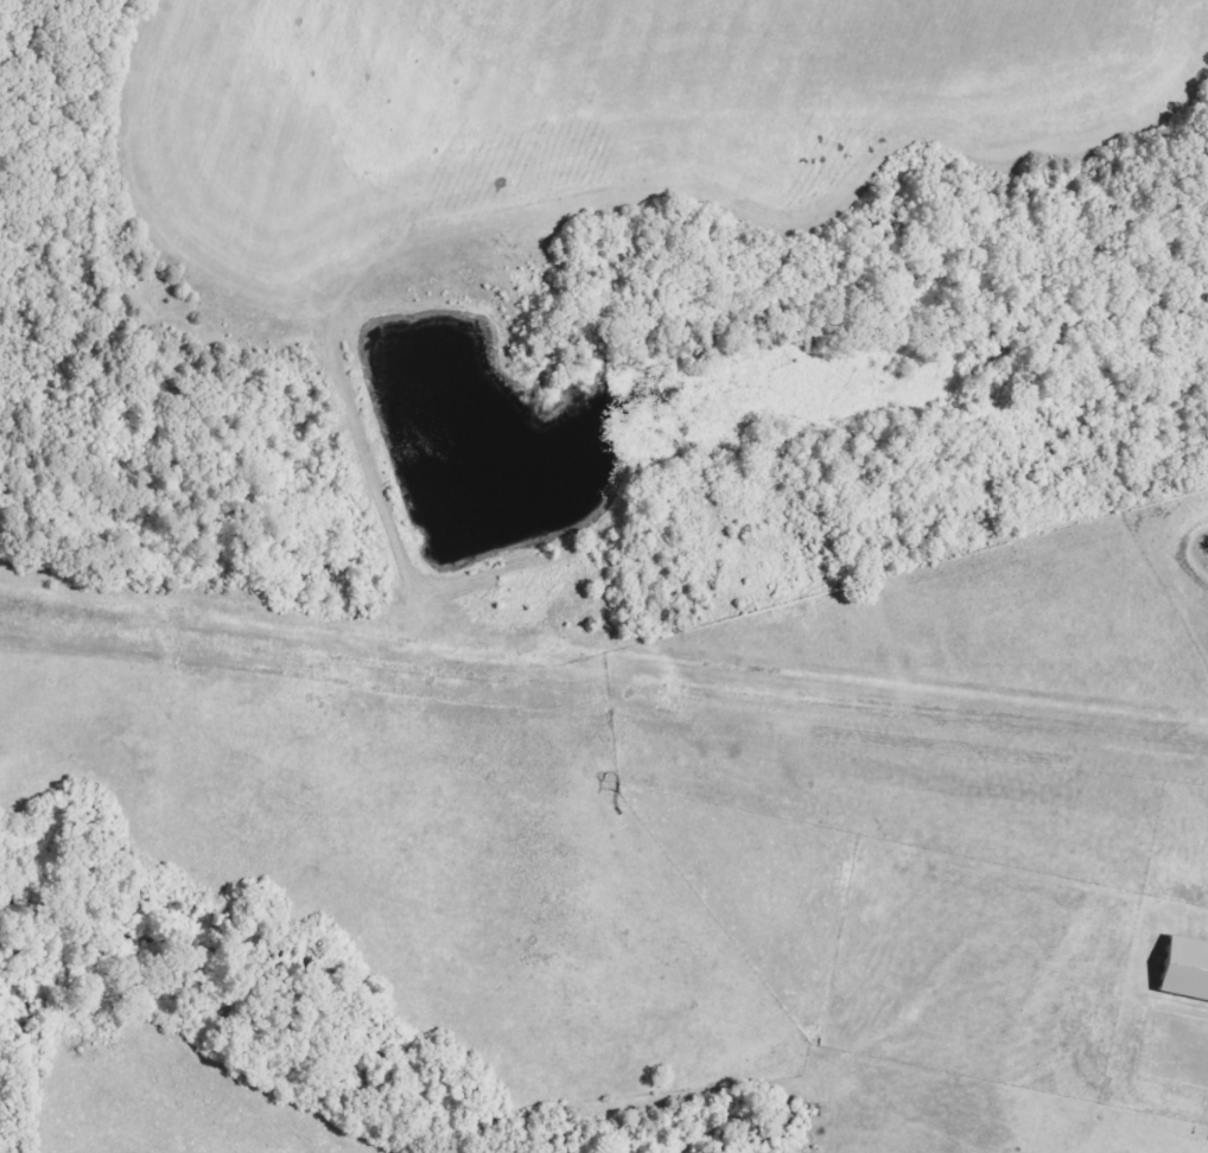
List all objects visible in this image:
building: (1187, 972)

